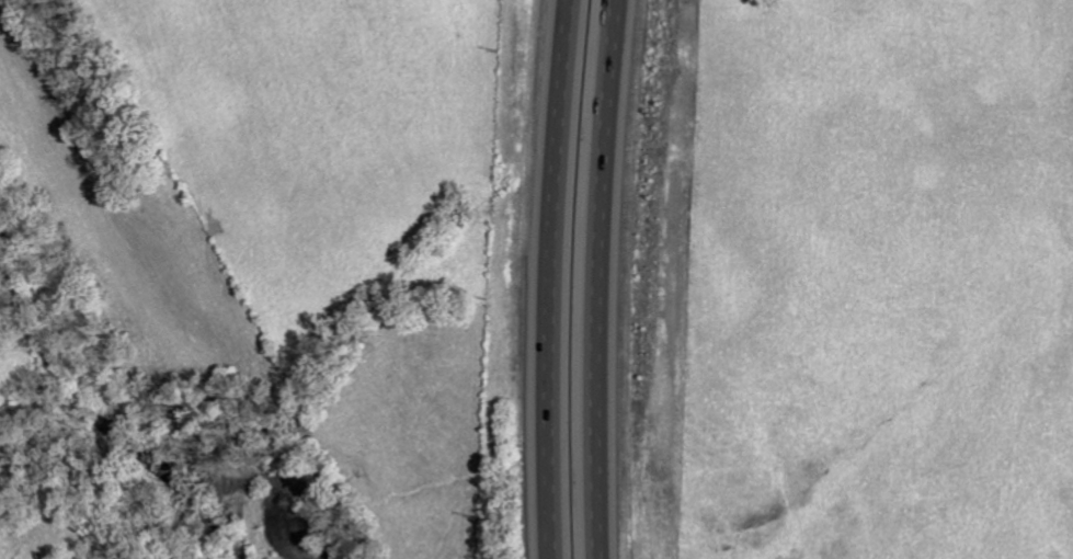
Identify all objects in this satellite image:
road: (552, 278)
road: (597, 278)

